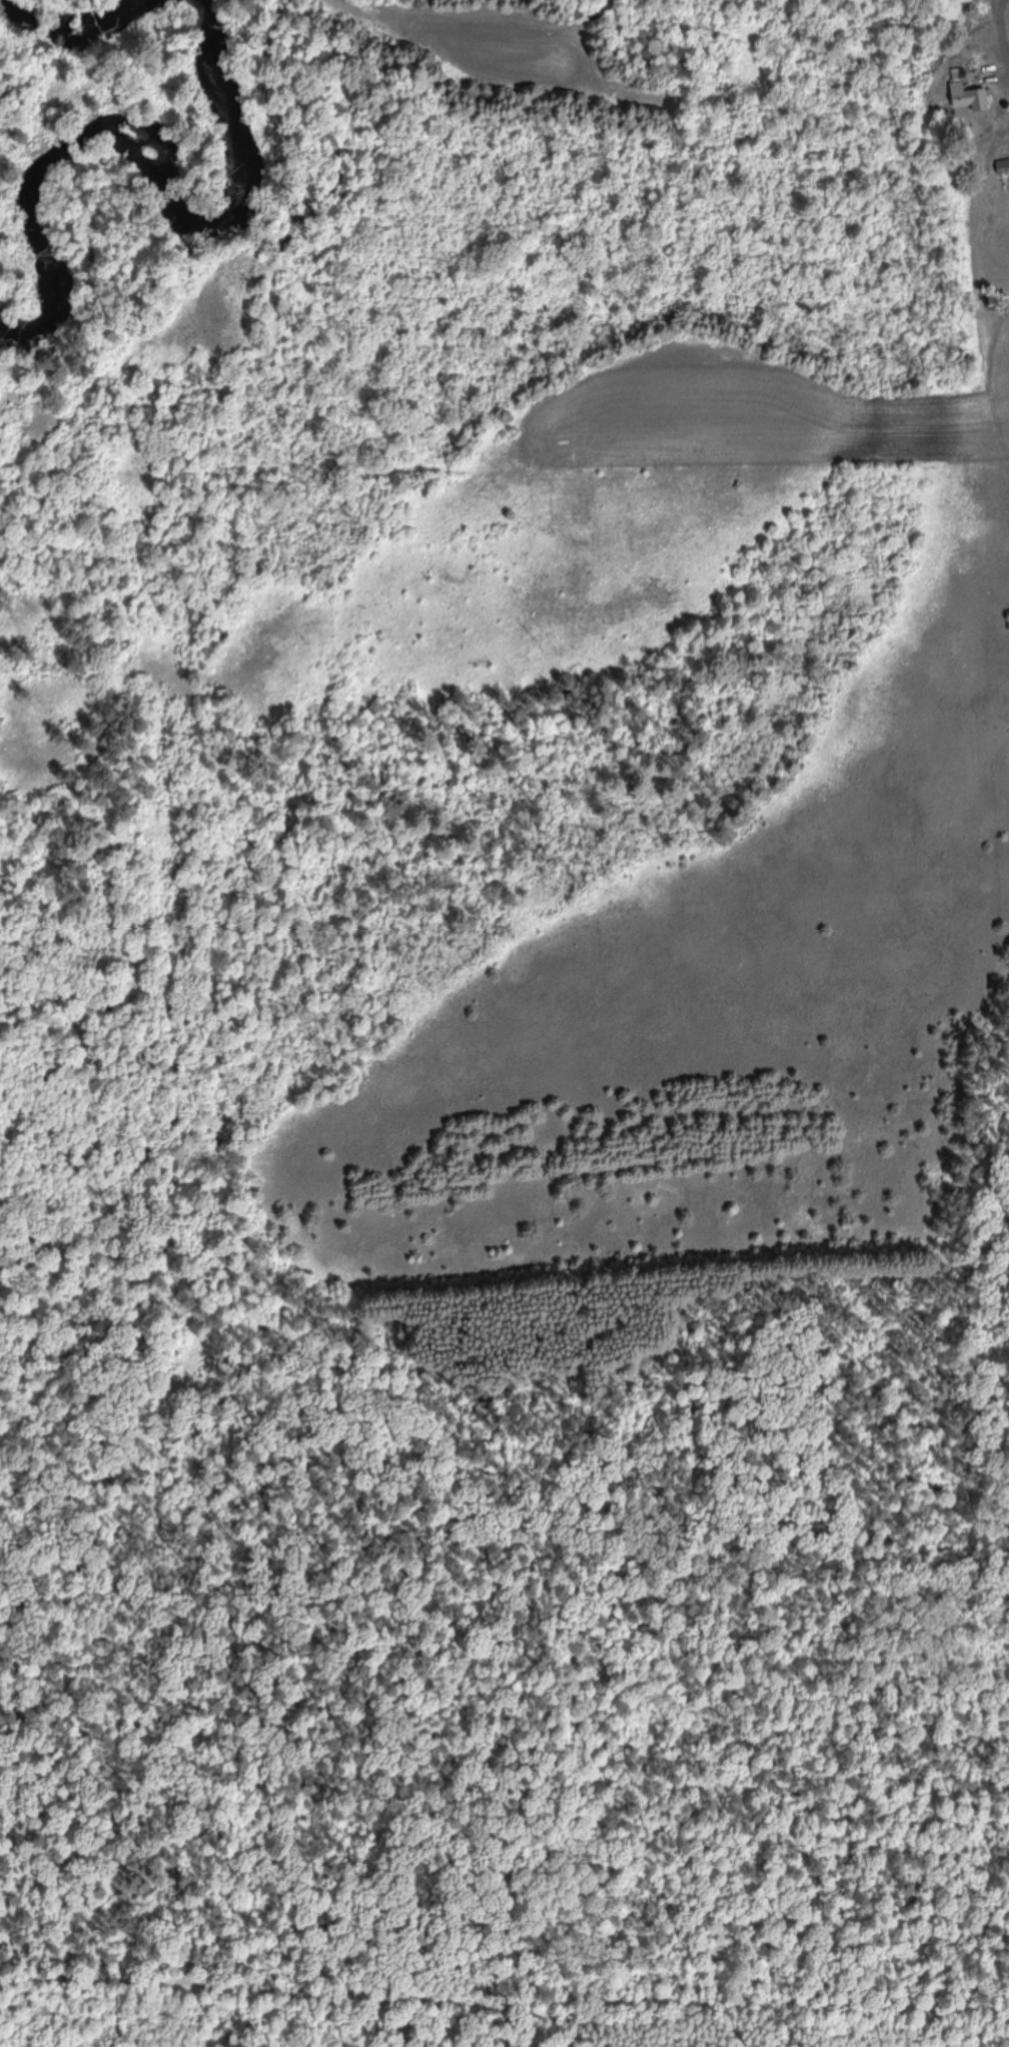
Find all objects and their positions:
river: (88, 7)
building: (972, 98)
river: (149, 102)
building: (1003, 166)

